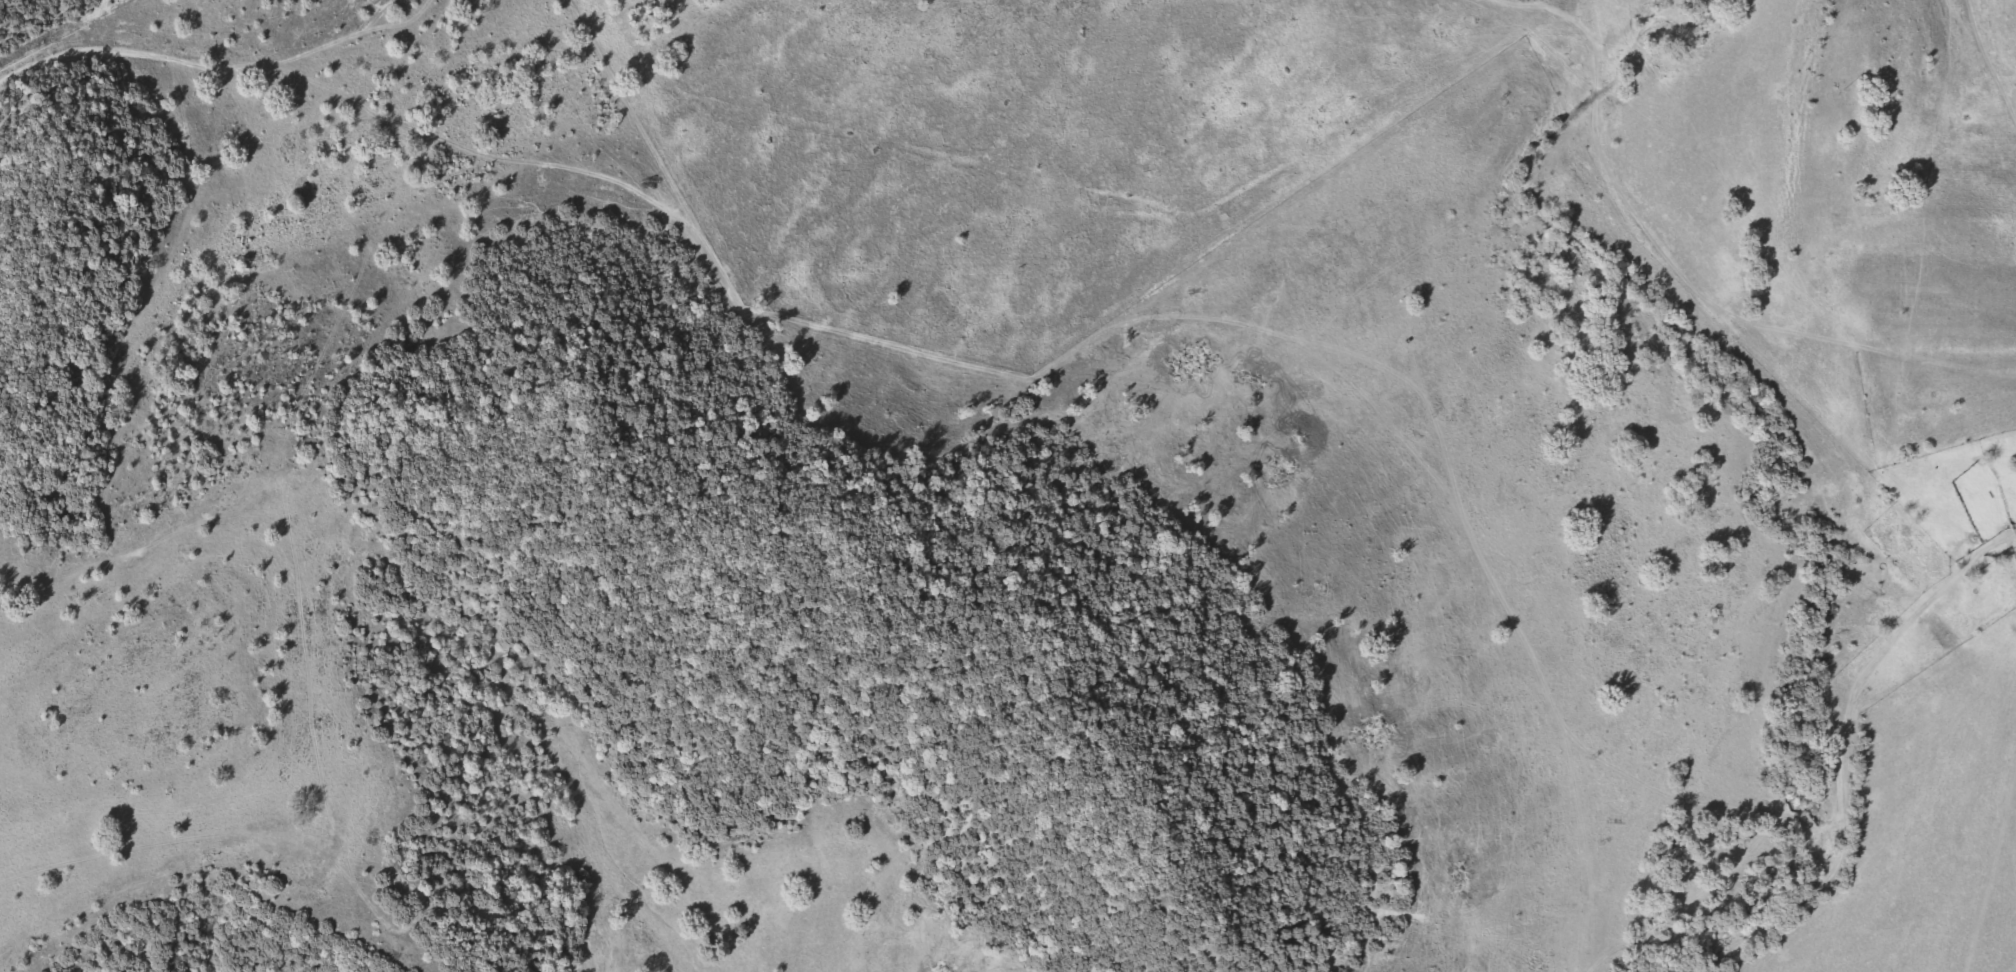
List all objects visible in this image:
road: (1842, 748)
road: (1725, 888)

